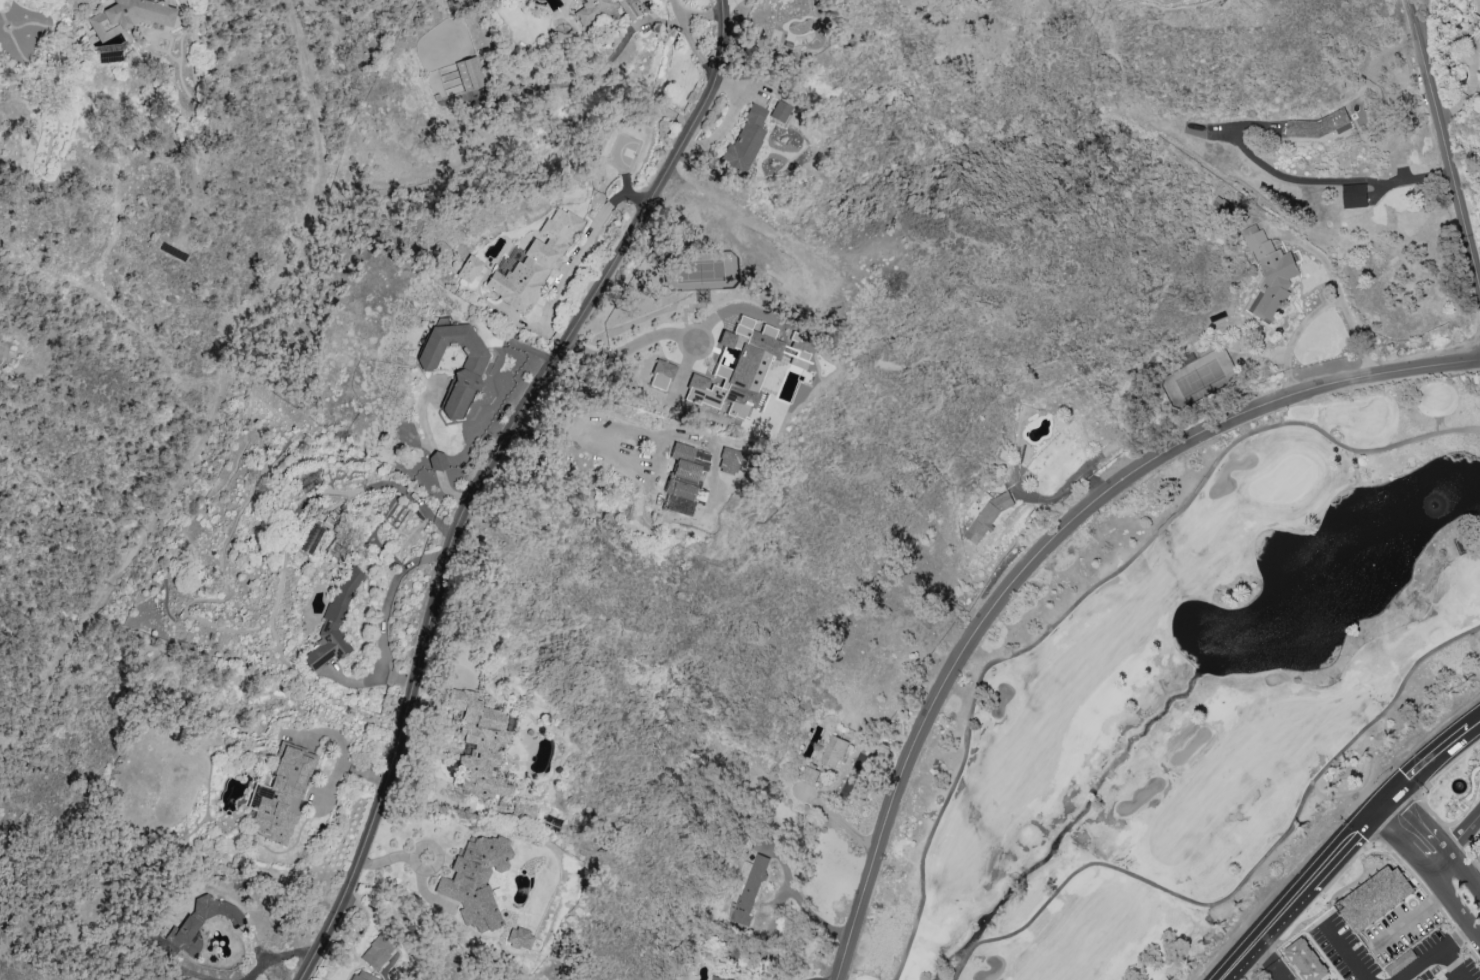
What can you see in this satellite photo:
building: (630, 7)
building: (592, 10)
building: (128, 16)
building: (469, 73)
building: (778, 111)
building: (1320, 128)
building: (744, 141)
road: (1444, 143)
road: (1316, 180)
building: (1355, 195)
building: (533, 262)
building: (468, 268)
road: (566, 268)
building: (1270, 274)
road: (1338, 291)
road: (1293, 336)
road: (700, 339)
building: (796, 356)
building: (736, 366)
building: (663, 368)
building: (466, 374)
road: (218, 397)
road: (430, 443)
building: (436, 461)
road: (473, 470)
building: (684, 479)
road: (1042, 547)
road: (383, 615)
building: (333, 622)
park: (1190, 695)
road: (1474, 726)
building: (479, 744)
building: (834, 751)
road: (346, 754)
road: (1426, 765)
building: (810, 774)
building: (280, 794)
road: (1419, 822)
road: (1463, 835)
road: (1398, 840)
road: (1438, 863)
road: (415, 864)
road: (1463, 874)
building: (476, 879)
building: (749, 888)
road: (1303, 890)
building: (1376, 898)
road: (801, 904)
road: (1455, 906)
building: (232, 920)
building: (517, 938)
building: (377, 952)
road: (1345, 953)
road: (1433, 955)
road: (277, 957)
building: (1307, 960)
building: (1401, 962)
road: (182, 970)
building: (359, 975)
road: (1456, 976)
building: (718, 978)
building: (1334, 979)

